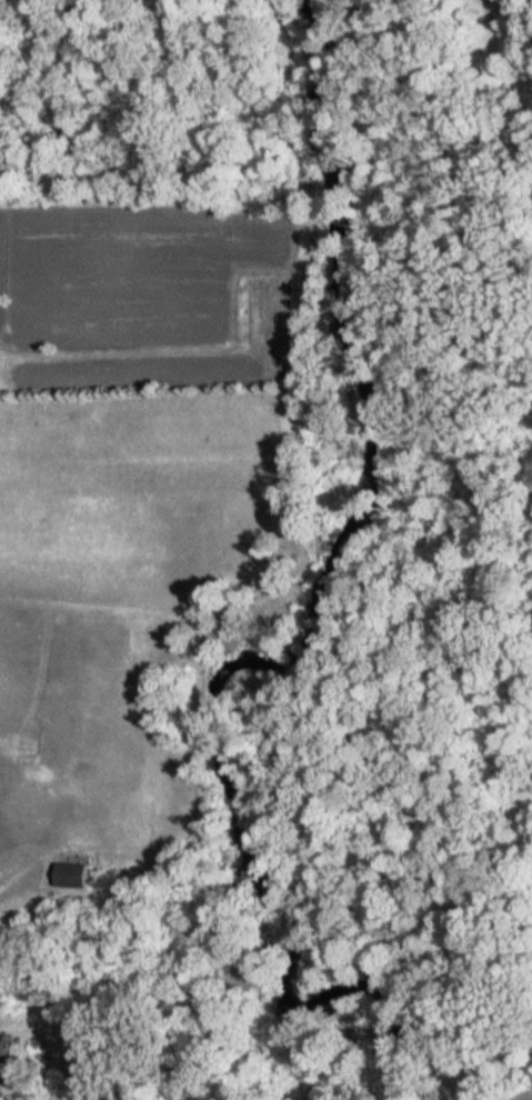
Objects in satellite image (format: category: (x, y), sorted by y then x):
park: (416, 549)
building: (66, 873)
building: (1, 1053)

